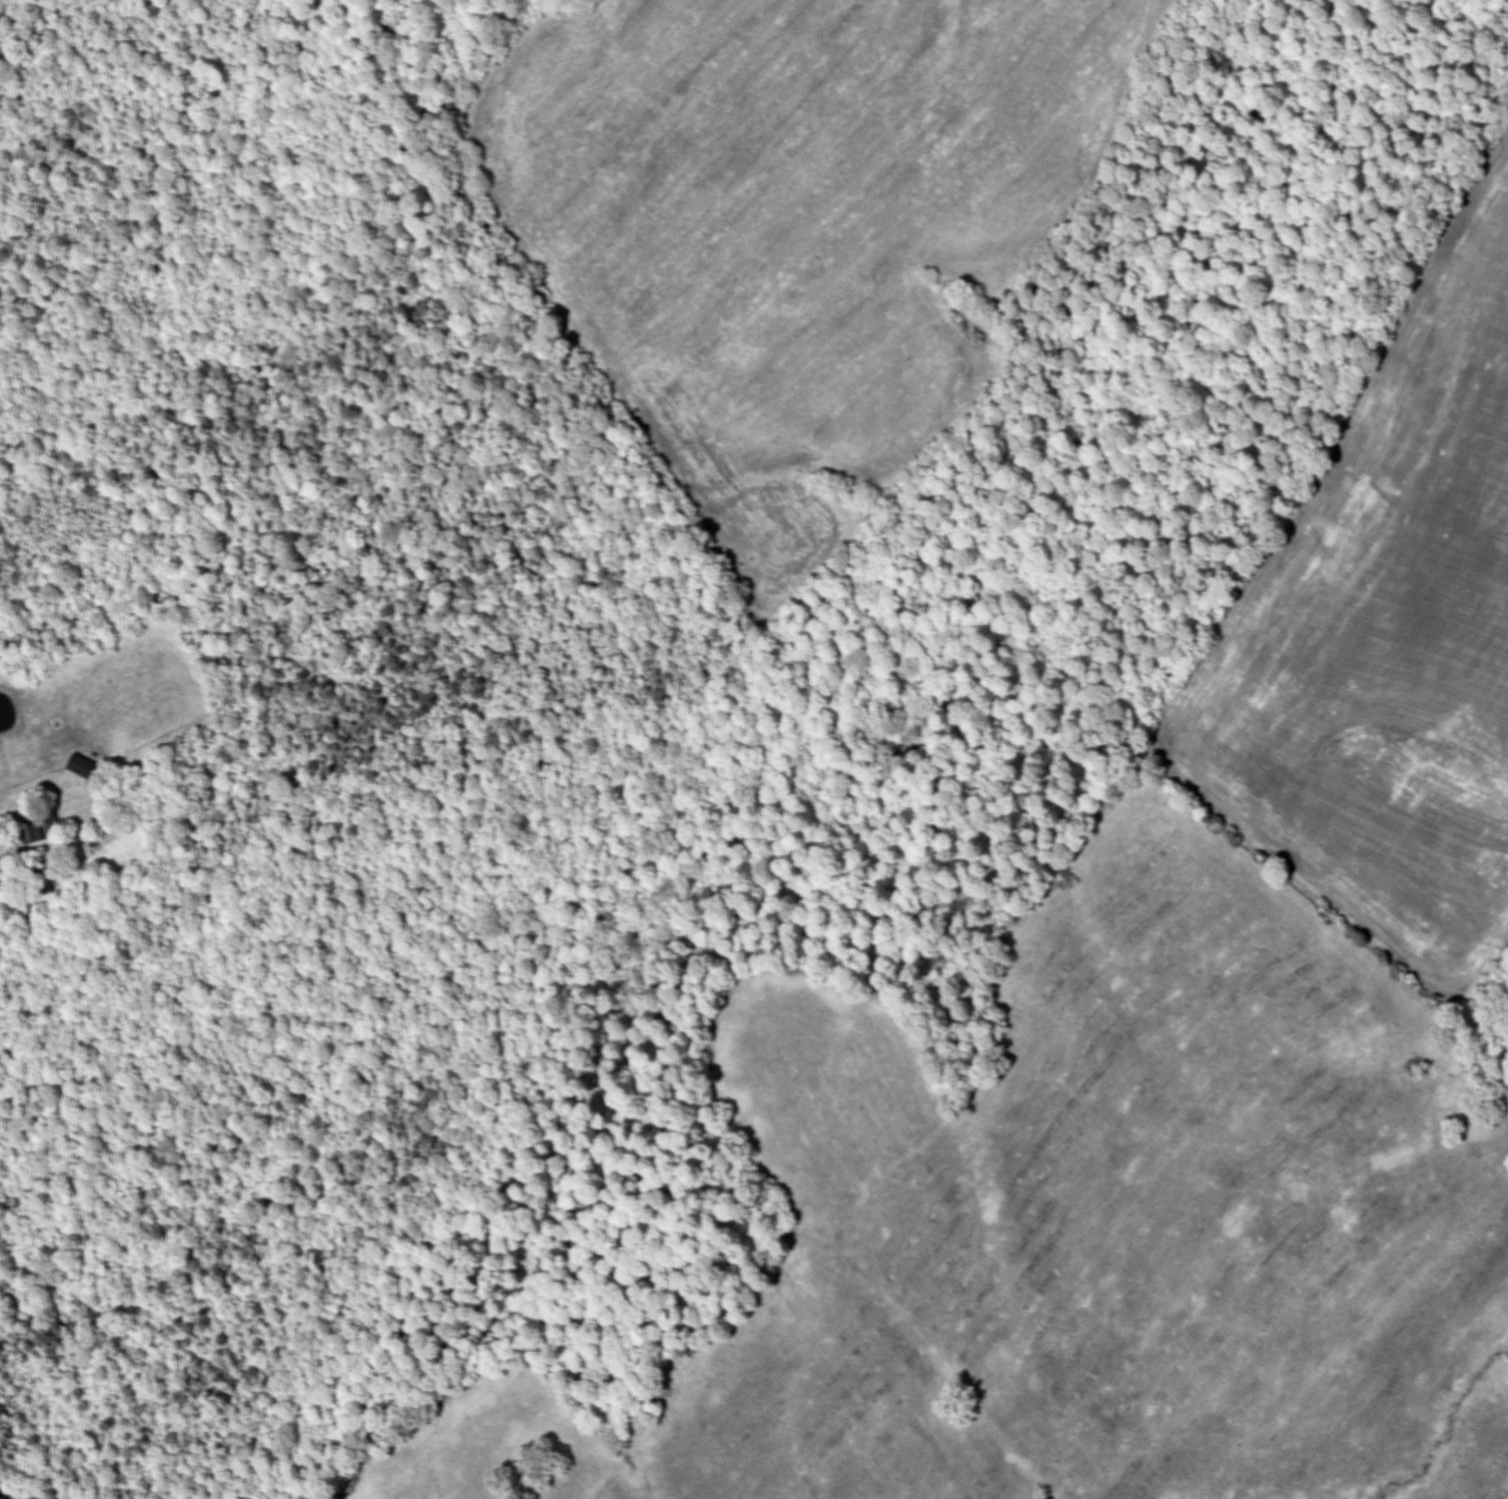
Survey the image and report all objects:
building: (85, 768)
building: (44, 830)
road: (1, 1497)

